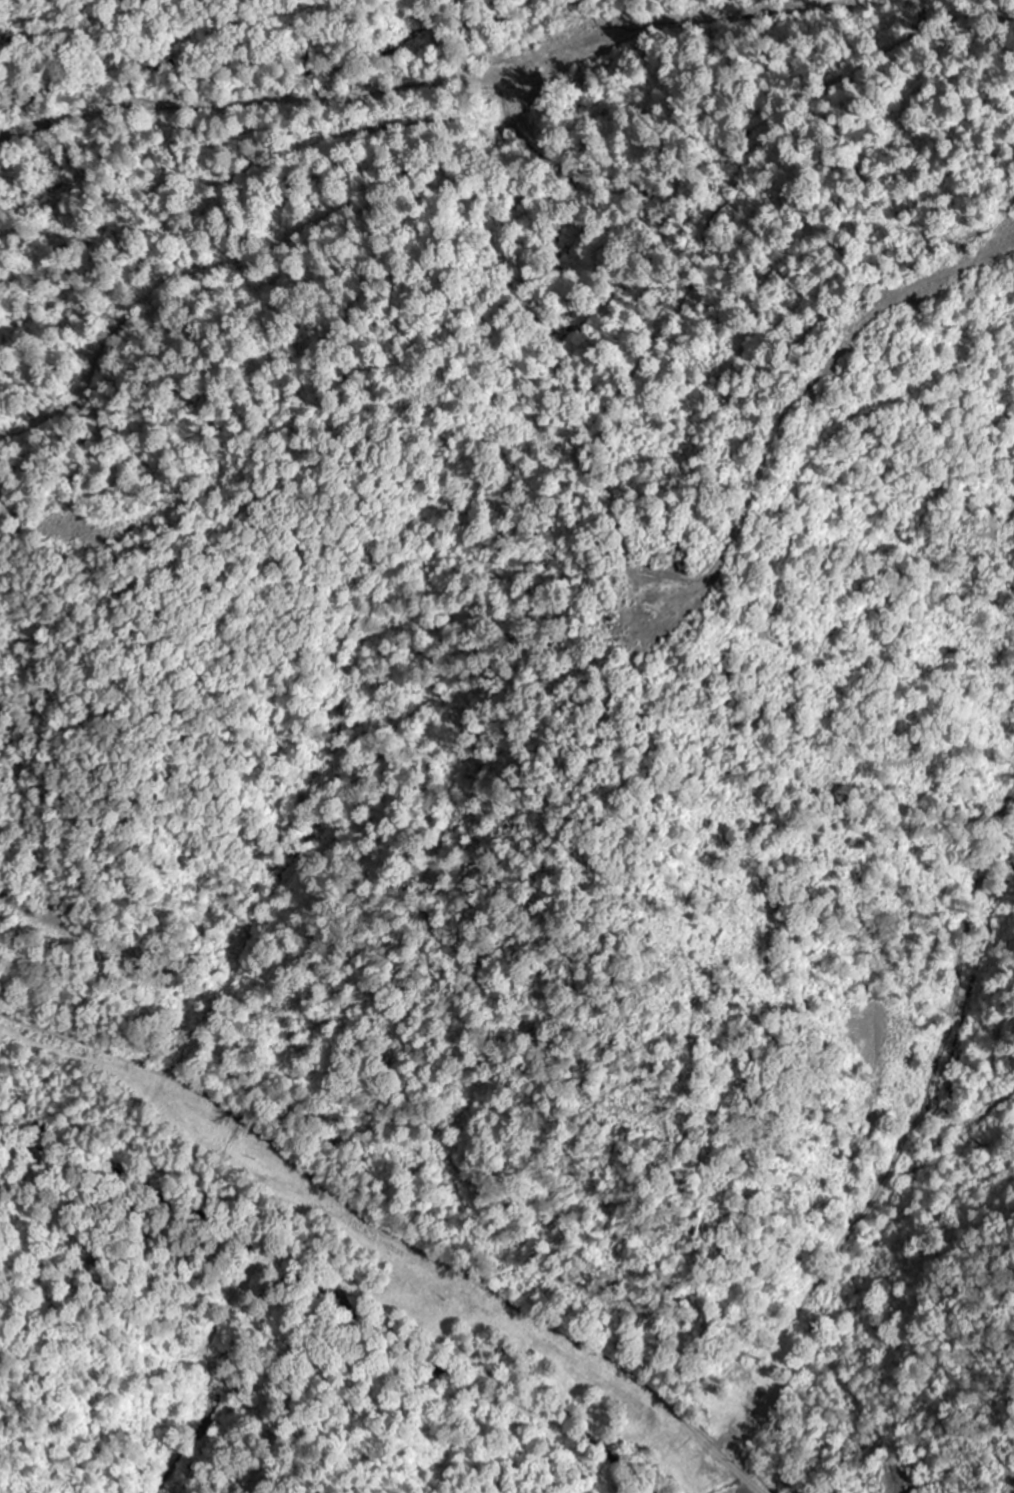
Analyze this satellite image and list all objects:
road: (393, 1220)

